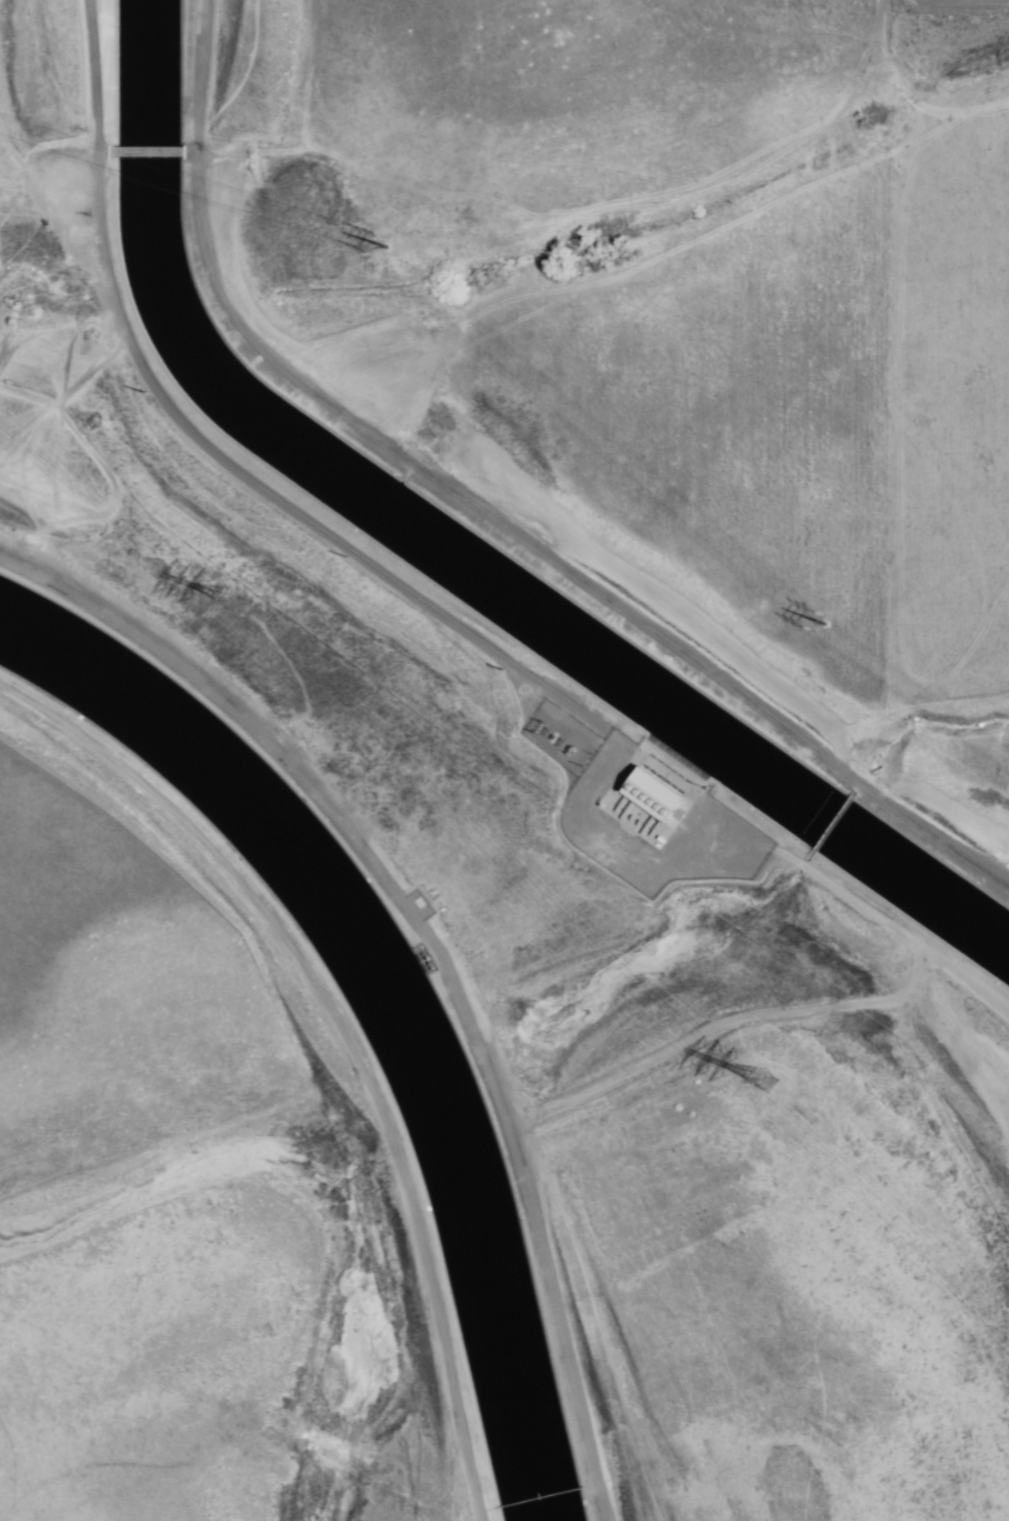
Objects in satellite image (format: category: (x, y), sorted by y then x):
road: (962, 4)
road: (147, 152)
road: (192, 152)
road: (106, 153)
power tower: (398, 244)
road: (271, 494)
road: (485, 513)
power tower: (263, 604)
power tower: (831, 610)
road: (307, 786)
building: (650, 793)
road: (717, 1025)
power tower: (787, 1081)
road: (559, 1322)

